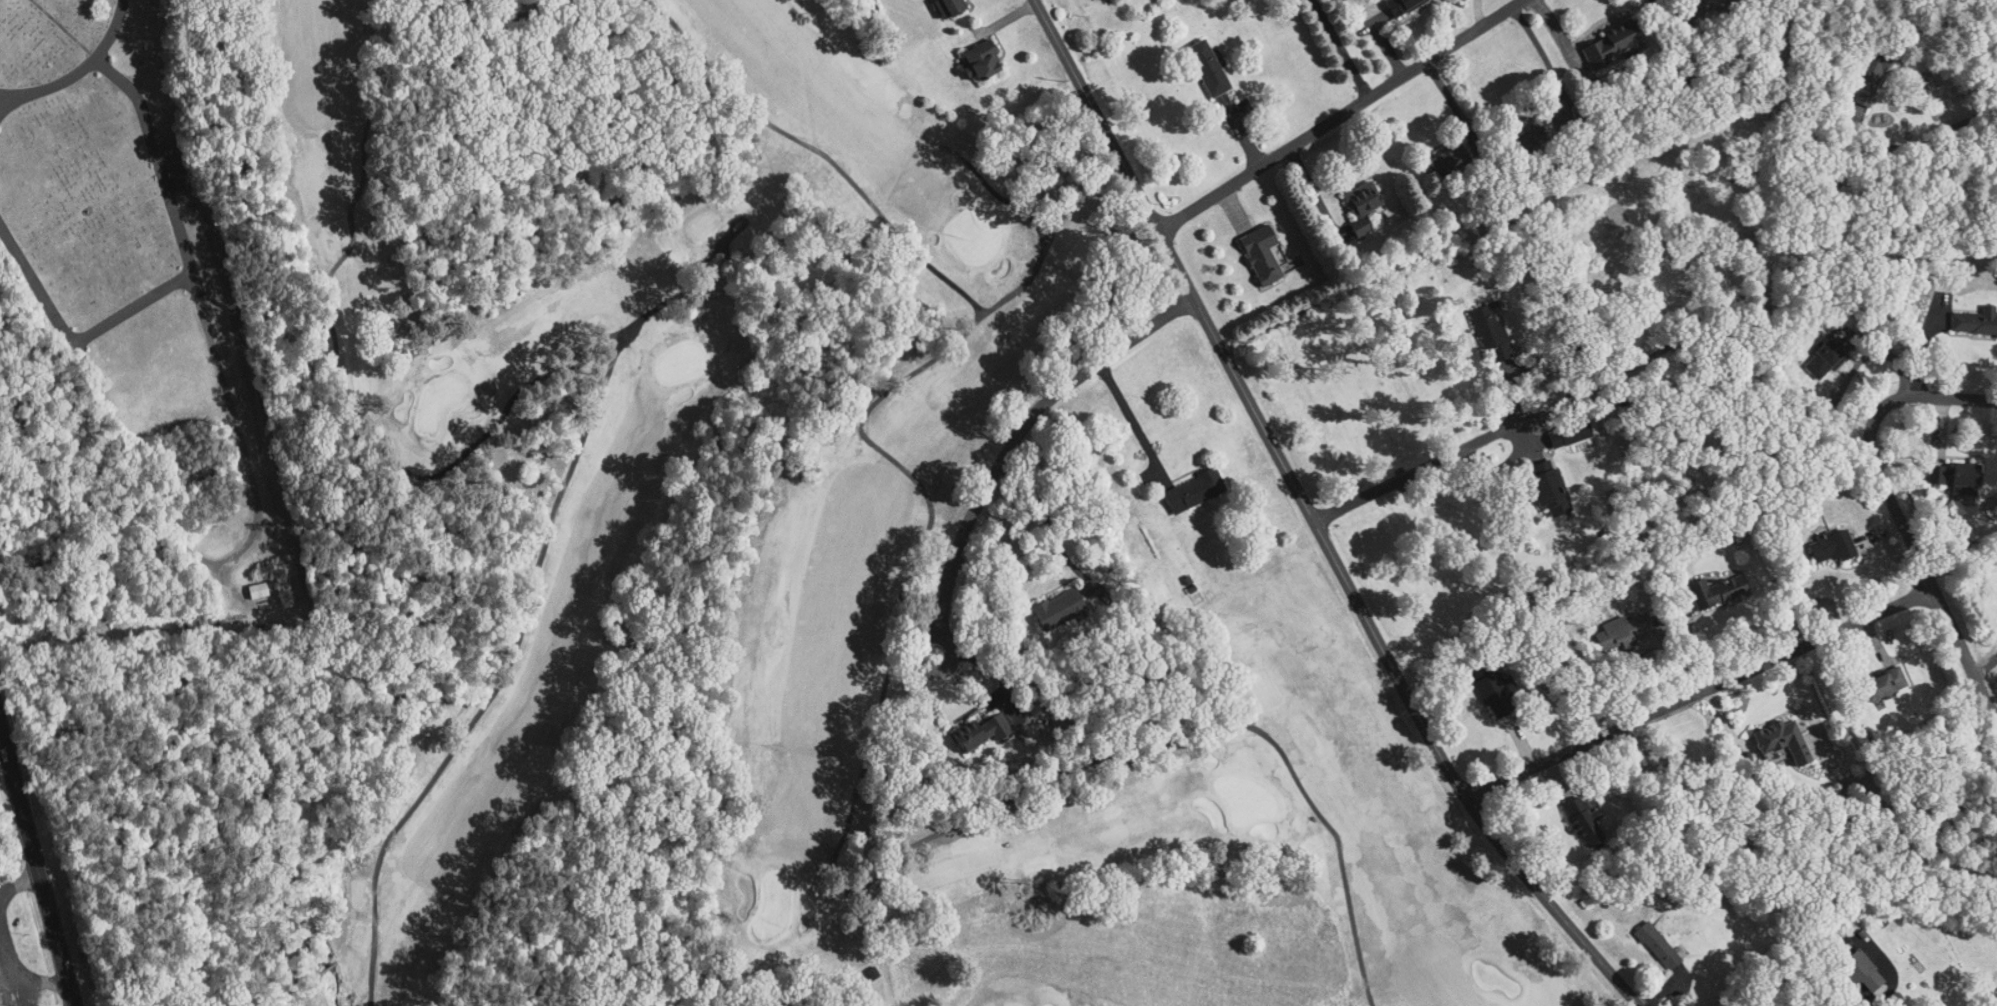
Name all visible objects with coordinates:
road: (1663, 6)
building: (938, 7)
road: (60, 28)
building: (1600, 38)
road: (1339, 48)
road: (1539, 52)
building: (972, 54)
building: (1199, 60)
road: (76, 68)
road: (4, 97)
road: (1450, 102)
road: (1339, 115)
road: (1914, 145)
road: (819, 150)
building: (1354, 198)
road: (746, 218)
road: (1038, 225)
road: (1052, 227)
building: (1254, 246)
park: (143, 292)
road: (128, 307)
building: (1959, 312)
building: (1486, 324)
building: (1809, 351)
road: (351, 407)
road: (1023, 428)
building: (1556, 428)
building: (1936, 468)
road: (1417, 470)
building: (1543, 481)
building: (1182, 482)
road: (250, 502)
road: (1895, 510)
road: (1312, 519)
building: (1815, 538)
building: (247, 582)
building: (1701, 582)
building: (1047, 602)
building: (1600, 626)
road: (918, 661)
road: (502, 676)
building: (1865, 676)
building: (1469, 678)
road: (1699, 692)
building: (967, 726)
building: (1764, 732)
building: (1567, 812)
road: (37, 864)
road: (876, 873)
building: (1642, 937)
building: (1845, 963)
road: (1881, 998)

